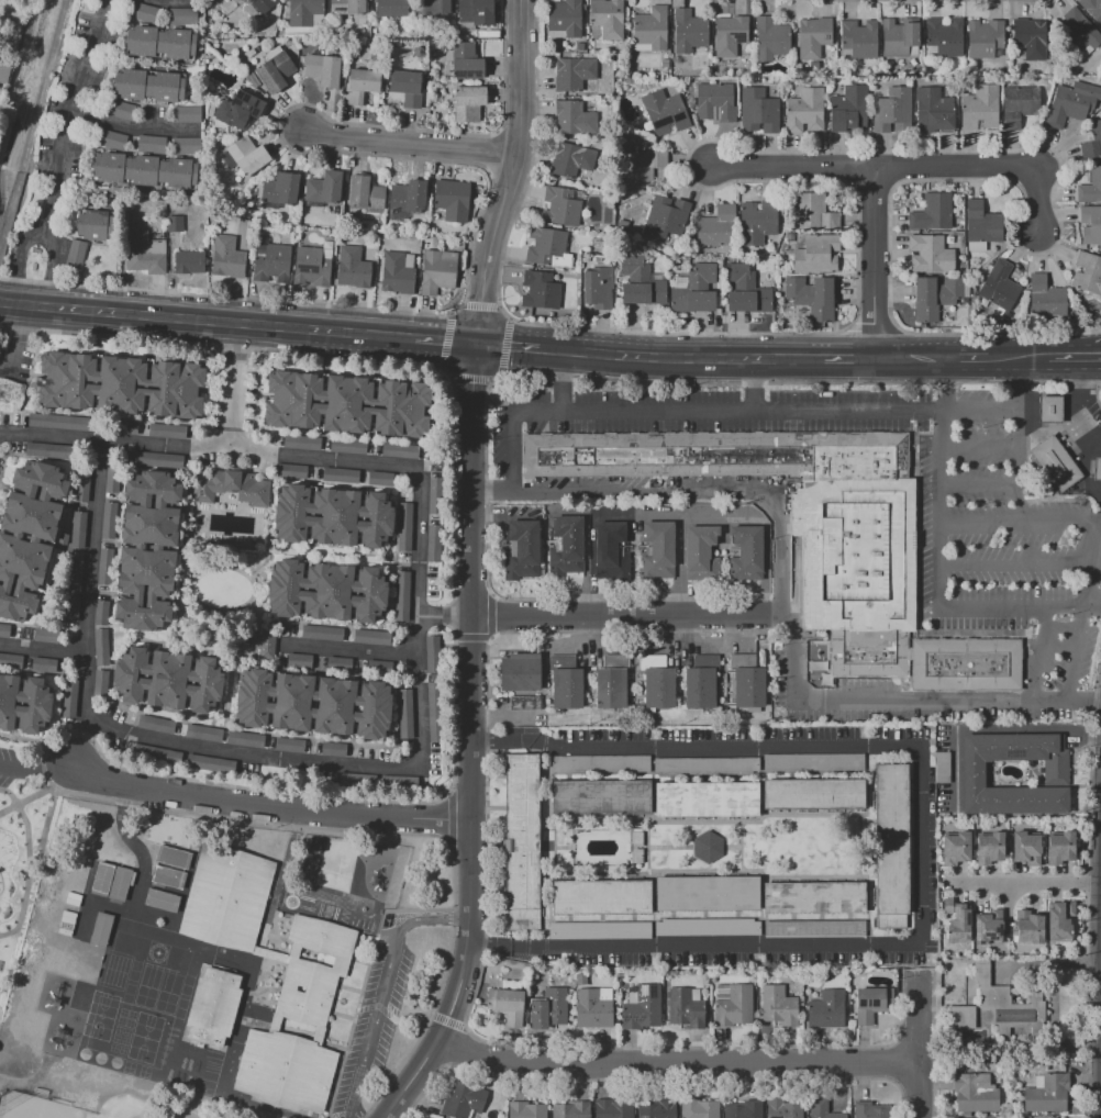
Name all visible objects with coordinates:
building: (263, 4)
building: (347, 7)
building: (432, 7)
building: (391, 8)
building: (1092, 9)
building: (249, 10)
building: (476, 11)
building: (305, 13)
building: (181, 15)
building: (565, 18)
building: (608, 18)
building: (650, 30)
building: (688, 31)
building: (730, 34)
building: (1078, 34)
building: (813, 36)
building: (944, 36)
building: (900, 37)
building: (770, 38)
building: (858, 38)
building: (983, 38)
building: (1028, 38)
building: (159, 42)
building: (418, 52)
building: (465, 62)
building: (665, 62)
building: (812, 65)
building: (798, 66)
building: (323, 69)
building: (3, 70)
building: (274, 70)
building: (572, 72)
building: (148, 85)
building: (360, 86)
building: (405, 88)
building: (714, 102)
building: (1071, 102)
building: (468, 103)
building: (1019, 105)
building: (847, 108)
building: (980, 108)
building: (119, 109)
building: (238, 109)
building: (891, 109)
building: (758, 110)
building: (804, 110)
building: (932, 110)
road: (65, 112)
building: (665, 112)
building: (185, 113)
building: (572, 118)
road: (132, 128)
road: (514, 133)
road: (707, 138)
building: (1092, 142)
building: (149, 143)
road: (405, 143)
building: (186, 145)
road: (490, 152)
building: (247, 156)
building: (226, 159)
building: (571, 159)
building: (642, 167)
road: (850, 167)
road: (908, 167)
road: (891, 168)
building: (145, 170)
road: (487, 174)
road: (509, 174)
road: (505, 178)
road: (870, 185)
building: (324, 188)
building: (1090, 188)
building: (280, 189)
building: (365, 193)
building: (409, 197)
building: (452, 200)
building: (560, 206)
building: (932, 212)
building: (814, 213)
building: (124, 216)
building: (665, 217)
building: (756, 221)
building: (175, 223)
building: (1090, 224)
building: (94, 225)
building: (622, 225)
building: (981, 225)
building: (716, 226)
building: (790, 237)
building: (425, 242)
building: (547, 248)
building: (145, 253)
building: (74, 254)
building: (816, 254)
building: (928, 254)
building: (226, 258)
road: (19, 259)
building: (189, 261)
road: (872, 261)
road: (55, 262)
building: (270, 262)
building: (312, 266)
building: (354, 266)
building: (437, 271)
building: (397, 272)
building: (1087, 272)
building: (641, 281)
building: (998, 284)
building: (598, 287)
building: (693, 289)
building: (541, 290)
building: (746, 290)
building: (811, 297)
building: (935, 297)
building: (1045, 298)
road: (480, 304)
road: (205, 318)
road: (872, 326)
road: (19, 336)
road: (444, 339)
road: (445, 339)
traffic signals: (476, 344)
road: (504, 345)
road: (509, 345)
road: (681, 353)
road: (1076, 355)
road: (848, 356)
road: (1019, 356)
road: (911, 357)
road: (968, 357)
road: (547, 373)
road: (470, 378)
road: (561, 381)
road: (1022, 382)
road: (754, 383)
building: (121, 384)
road: (237, 389)
road: (1047, 393)
building: (346, 403)
road: (1071, 404)
building: (1049, 409)
gas station: (1049, 409)
road: (982, 411)
road: (699, 413)
building: (56, 421)
building: (125, 427)
building: (166, 431)
building: (300, 441)
building: (346, 446)
building: (46, 449)
building: (398, 449)
road: (981, 449)
building: (156, 459)
parking lot: (1, 460)
road: (189, 461)
building: (1056, 462)
road: (1021, 465)
building: (1097, 469)
gas station: (1097, 469)
road: (274, 470)
building: (289, 470)
building: (338, 474)
building: (379, 478)
road: (981, 483)
building: (80, 484)
building: (232, 487)
road: (704, 491)
building: (433, 494)
road: (269, 514)
building: (332, 515)
building: (108, 519)
road: (1020, 519)
road: (185, 526)
building: (403, 526)
building: (77, 529)
building: (27, 536)
building: (816, 538)
building: (659, 543)
building: (567, 545)
building: (611, 545)
road: (93, 548)
building: (521, 549)
building: (147, 550)
building: (699, 550)
building: (746, 552)
road: (331, 557)
parking lot: (1010, 559)
road: (407, 560)
road: (1016, 561)
building: (103, 566)
road: (230, 568)
road: (680, 568)
road: (257, 573)
building: (74, 574)
road: (937, 589)
park: (215, 590)
building: (326, 591)
building: (401, 595)
road: (178, 602)
road: (187, 604)
building: (70, 608)
road: (253, 608)
building: (100, 612)
road: (1086, 614)
road: (444, 617)
road: (279, 625)
building: (3, 630)
road: (598, 630)
road: (672, 630)
road: (686, 630)
building: (321, 633)
building: (370, 636)
road: (99, 637)
road: (472, 637)
road: (221, 641)
road: (655, 644)
building: (266, 645)
building: (100, 646)
road: (349, 651)
road: (1036, 652)
building: (431, 653)
road: (792, 653)
road: (414, 657)
building: (298, 660)
building: (42, 663)
building: (519, 671)
building: (168, 680)
building: (565, 681)
building: (611, 681)
building: (747, 681)
building: (656, 682)
building: (700, 682)
road: (1094, 692)
building: (68, 697)
road: (226, 698)
building: (523, 702)
building: (23, 703)
building: (313, 703)
building: (433, 711)
building: (403, 713)
road: (505, 715)
building: (155, 724)
road: (989, 728)
building: (202, 733)
building: (244, 738)
road: (80, 741)
road: (472, 741)
building: (288, 744)
building: (332, 748)
building: (209, 763)
building: (599, 763)
building: (813, 763)
parking lot: (7, 765)
building: (704, 765)
road: (34, 768)
building: (1055, 770)
road: (47, 786)
road: (292, 792)
building: (813, 793)
road: (10, 794)
building: (600, 798)
building: (707, 800)
road: (268, 806)
road: (8, 808)
building: (636, 838)
building: (523, 841)
building: (891, 845)
road: (919, 846)
building: (708, 847)
building: (1026, 847)
building: (955, 848)
building: (989, 848)
building: (1060, 848)
building: (636, 856)
building: (173, 857)
road: (27, 875)
building: (167, 876)
building: (101, 880)
building: (120, 883)
road: (1026, 885)
building: (705, 893)
building: (600, 896)
building: (226, 897)
building: (814, 897)
building: (162, 901)
building: (947, 906)
road: (437, 918)
building: (1059, 920)
park: (16, 921)
building: (66, 923)
building: (959, 924)
road: (1086, 925)
building: (708, 927)
building: (987, 927)
building: (1028, 927)
building: (814, 928)
building: (101, 929)
building: (600, 929)
road: (482, 948)
building: (621, 974)
building: (580, 979)
building: (213, 1004)
building: (869, 1004)
building: (1008, 1004)
road: (1054, 1004)
building: (505, 1005)
building: (732, 1005)
building: (778, 1005)
building: (641, 1006)
building: (549, 1007)
building: (593, 1007)
building: (686, 1008)
building: (826, 1009)
building: (300, 1015)
parking lot: (374, 1017)
road: (376, 1017)
building: (960, 1017)
road: (447, 1019)
road: (933, 1043)
road: (920, 1044)
road: (677, 1062)
road: (653, 1078)
road: (29, 1081)
road: (135, 1088)
building: (975, 1093)
building: (1047, 1093)
building: (461, 1099)
park: (34, 1107)
building: (613, 1108)
building: (699, 1108)
building: (571, 1109)
building: (742, 1109)
building: (822, 1109)
building: (526, 1110)
building: (656, 1110)
building: (783, 1110)
building: (871, 1110)
road: (349, 1116)
building: (426, 1117)

